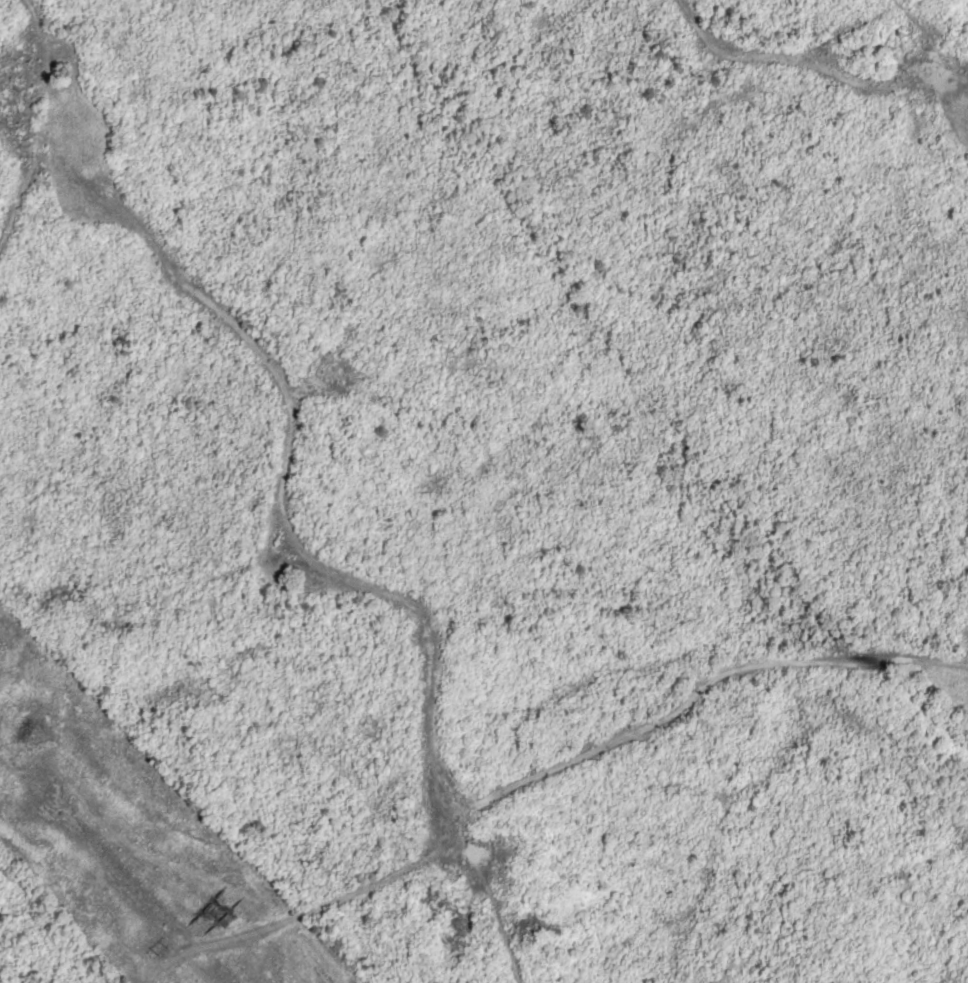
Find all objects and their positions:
power tower: (215, 918)
power tower: (164, 949)

